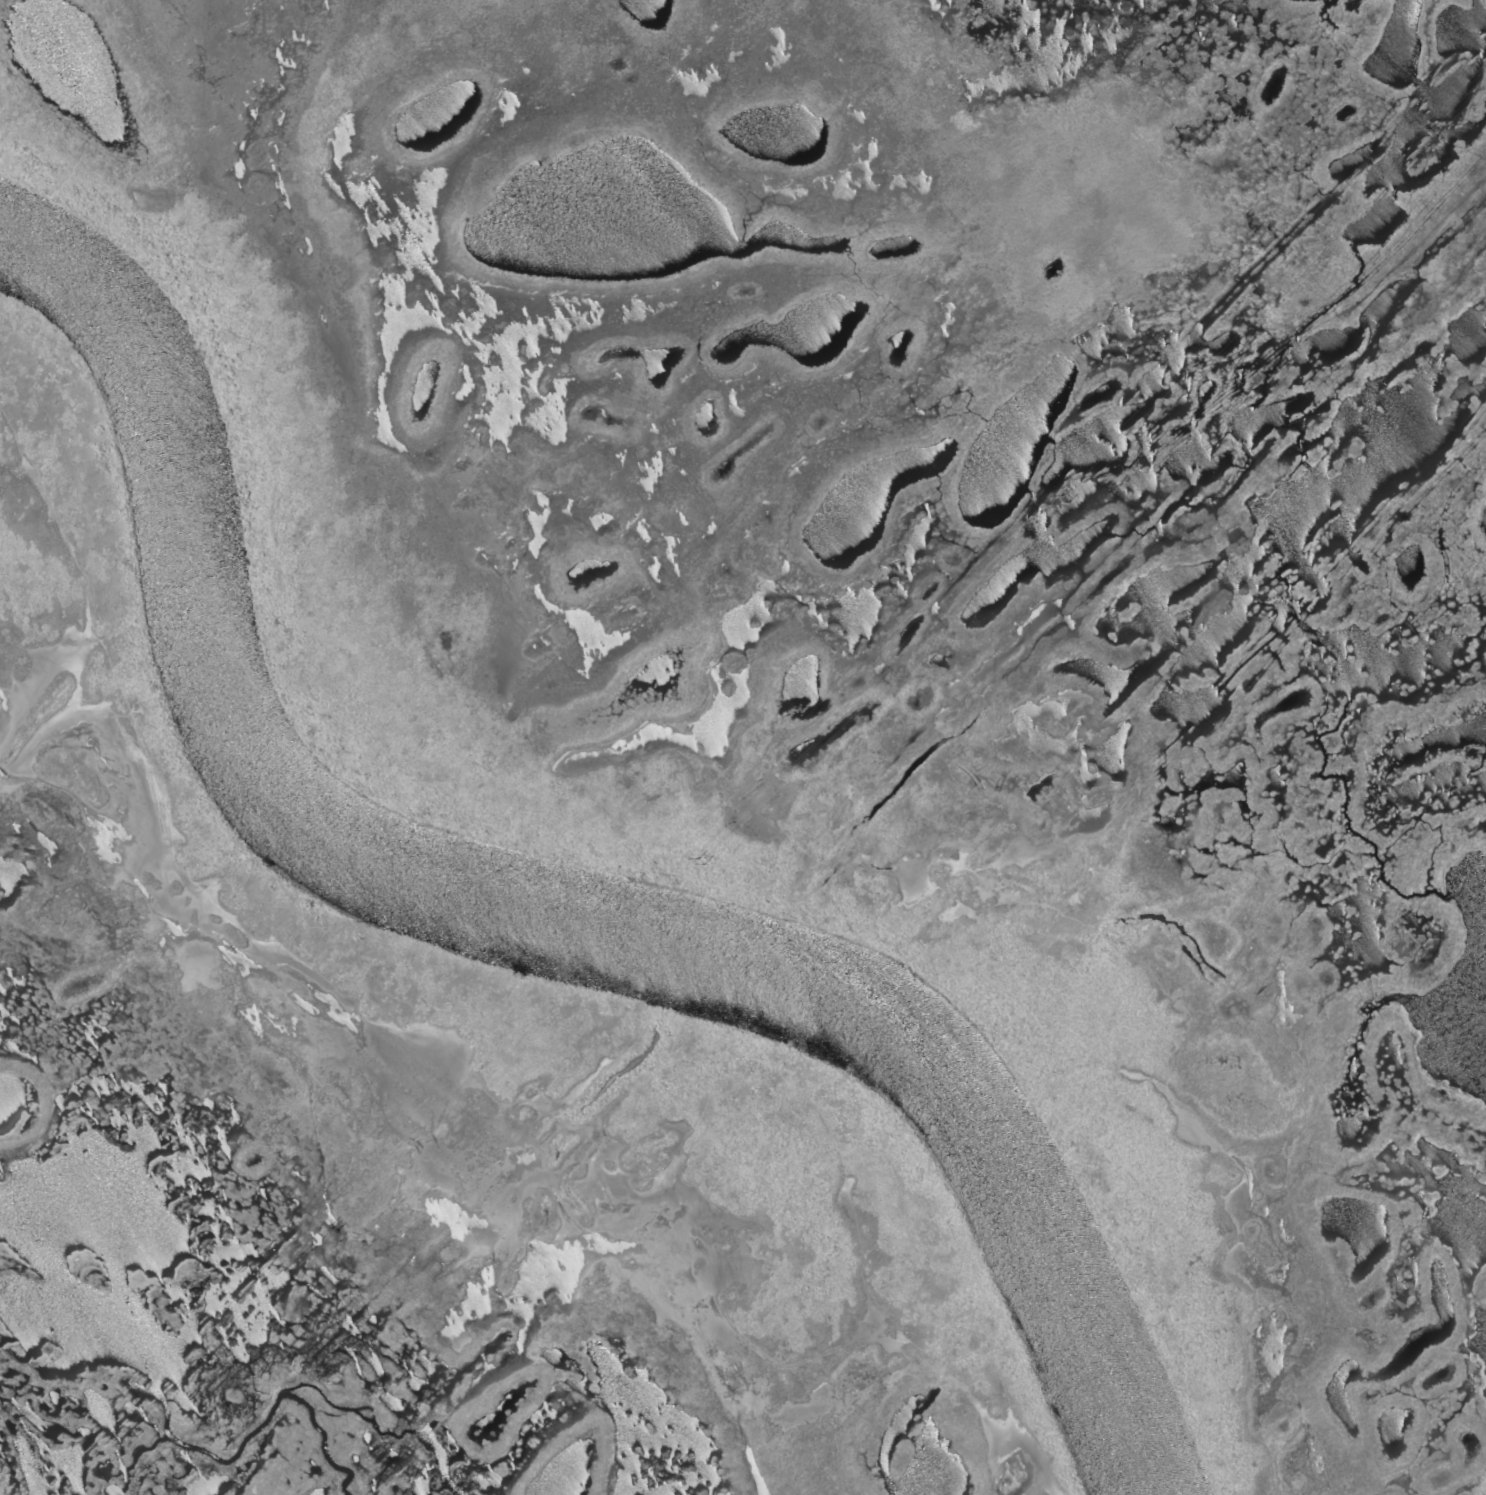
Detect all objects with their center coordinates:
power tower: (1432, 132)
power tower: (1067, 496)
power tower: (700, 859)
river: (524, 894)
power tower: (334, 1226)

